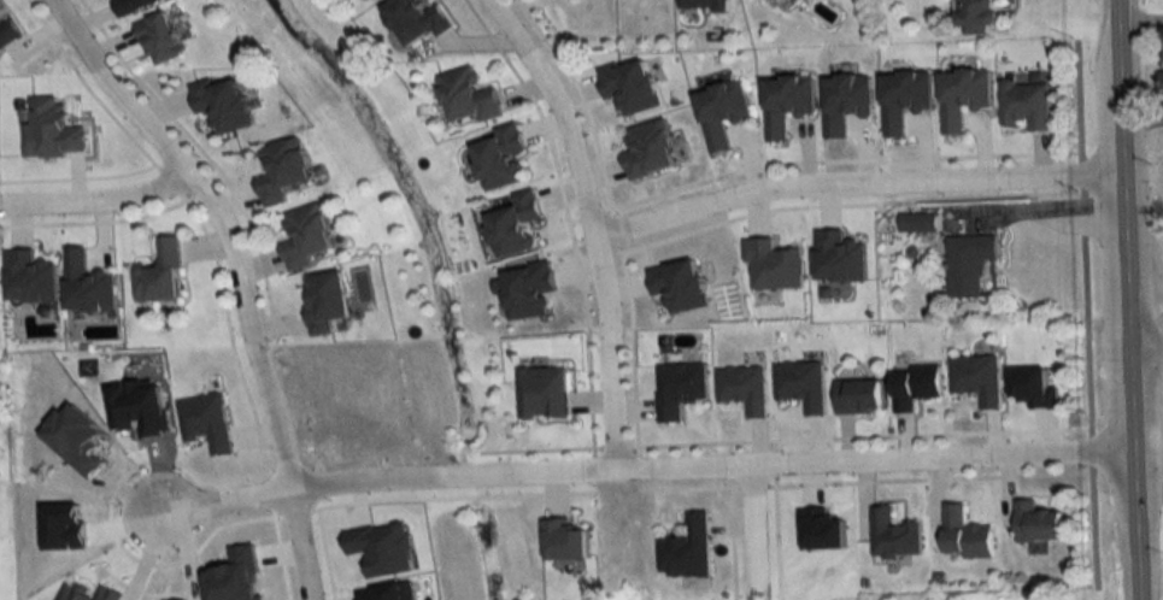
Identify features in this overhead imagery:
building: (769, 1)
building: (133, 5)
building: (701, 5)
building: (977, 13)
building: (415, 20)
road: (1138, 23)
building: (7, 33)
building: (158, 39)
building: (1161, 82)
building: (630, 87)
road: (87, 88)
building: (468, 96)
building: (962, 96)
building: (903, 99)
road: (582, 100)
building: (845, 101)
building: (785, 102)
building: (222, 105)
building: (1024, 105)
building: (721, 112)
building: (648, 149)
road: (206, 155)
building: (500, 158)
road: (839, 159)
building: (282, 170)
road: (215, 173)
road: (75, 176)
road: (168, 181)
road: (852, 182)
road: (200, 186)
road: (96, 199)
road: (845, 202)
road: (591, 214)
road: (566, 216)
road: (572, 219)
road: (98, 220)
road: (592, 222)
building: (917, 223)
building: (515, 224)
road: (615, 229)
building: (305, 236)
building: (969, 264)
building: (160, 273)
road: (240, 273)
building: (29, 277)
building: (87, 284)
road: (1120, 300)
road: (228, 334)
road: (633, 347)
road: (1143, 349)
building: (977, 380)
building: (914, 387)
building: (744, 389)
building: (680, 390)
building: (857, 398)
road: (1047, 429)
road: (1088, 430)
road: (816, 437)
road: (771, 445)
road: (613, 446)
road: (727, 446)
road: (539, 448)
road: (1088, 448)
road: (727, 463)
road: (773, 463)
road: (658, 465)
road: (1089, 467)
road: (970, 475)
road: (807, 482)
road: (751, 483)
road: (694, 487)
road: (1144, 493)
road: (266, 494)
road: (189, 496)
road: (451, 498)
road: (292, 514)
road: (106, 522)
building: (1036, 523)
road: (752, 527)
building: (893, 535)
building: (964, 535)
road: (732, 537)
road: (774, 537)
building: (687, 549)
road: (277, 553)
road: (322, 555)

